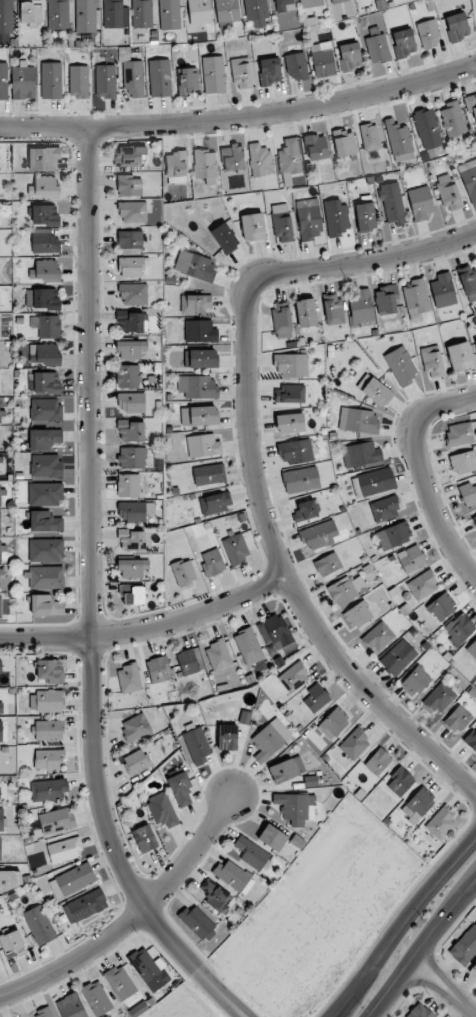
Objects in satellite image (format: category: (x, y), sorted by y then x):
building: (337, 1)
building: (310, 3)
building: (283, 5)
building: (255, 9)
building: (227, 11)
building: (31, 12)
building: (199, 12)
building: (142, 13)
building: (58, 14)
building: (115, 14)
building: (169, 14)
building: (85, 16)
building: (6, 21)
building: (457, 26)
building: (429, 33)
building: (404, 42)
building: (377, 48)
building: (350, 56)
building: (322, 59)
building: (297, 66)
building: (269, 71)
building: (241, 73)
building: (214, 74)
building: (133, 78)
building: (160, 78)
building: (51, 80)
building: (3, 81)
building: (78, 81)
building: (105, 81)
building: (188, 81)
building: (23, 82)
building: (471, 105)
building: (453, 119)
road: (241, 122)
building: (428, 129)
building: (370, 137)
building: (398, 138)
building: (344, 142)
building: (316, 147)
building: (127, 156)
building: (232, 158)
building: (290, 158)
building: (44, 159)
building: (260, 160)
building: (176, 164)
building: (205, 165)
building: (469, 178)
building: (129, 185)
building: (44, 187)
building: (448, 192)
building: (392, 203)
building: (420, 203)
building: (133, 212)
building: (45, 215)
building: (335, 217)
building: (365, 217)
building: (309, 219)
building: (282, 223)
building: (253, 227)
building: (224, 237)
building: (130, 239)
building: (43, 240)
building: (195, 266)
building: (133, 267)
building: (45, 271)
building: (468, 281)
building: (443, 290)
building: (134, 294)
building: (415, 297)
building: (42, 298)
building: (387, 300)
building: (196, 303)
building: (360, 306)
building: (333, 309)
building: (306, 313)
building: (281, 320)
building: (133, 322)
building: (49, 326)
building: (0, 327)
building: (200, 331)
building: (475, 341)
building: (131, 349)
building: (44, 355)
building: (460, 356)
building: (201, 359)
building: (432, 361)
building: (290, 365)
building: (401, 366)
building: (127, 376)
building: (44, 383)
building: (198, 387)
building: (377, 392)
building: (289, 394)
building: (131, 402)
building: (45, 410)
building: (1, 414)
building: (199, 416)
building: (358, 420)
building: (289, 423)
building: (131, 431)
building: (461, 433)
building: (44, 439)
building: (203, 446)
building: (295, 451)
building: (361, 454)
building: (0, 457)
building: (132, 457)
building: (462, 463)
road: (256, 464)
building: (46, 465)
building: (209, 474)
road: (426, 475)
building: (301, 480)
building: (373, 482)
building: (128, 485)
building: (45, 494)
building: (468, 494)
building: (0, 497)
building: (215, 503)
building: (384, 509)
building: (131, 511)
building: (306, 511)
building: (474, 519)
building: (45, 521)
building: (0, 523)
building: (319, 535)
building: (394, 535)
building: (132, 540)
building: (235, 549)
building: (46, 550)
building: (0, 551)
building: (412, 559)
building: (213, 563)
building: (328, 564)
road: (92, 568)
building: (133, 568)
building: (184, 572)
building: (45, 577)
building: (0, 578)
building: (422, 585)
building: (345, 589)
building: (132, 594)
building: (46, 605)
building: (0, 606)
building: (442, 606)
building: (357, 615)
road: (148, 627)
building: (460, 628)
building: (277, 631)
building: (378, 637)
building: (248, 646)
building: (472, 648)
building: (218, 655)
building: (398, 657)
building: (189, 662)
building: (0, 666)
building: (159, 669)
building: (50, 670)
building: (293, 677)
building: (129, 678)
building: (415, 681)
building: (316, 698)
building: (437, 698)
building: (46, 701)
building: (1, 707)
building: (457, 719)
building: (334, 722)
building: (136, 728)
building: (49, 729)
building: (1, 731)
building: (227, 737)
building: (471, 739)
building: (267, 742)
building: (354, 744)
building: (197, 745)
building: (48, 760)
building: (378, 761)
building: (136, 762)
building: (286, 769)
building: (399, 780)
building: (310, 781)
building: (181, 789)
building: (49, 790)
building: (418, 804)
building: (296, 807)
building: (162, 809)
building: (1, 819)
building: (56, 820)
building: (440, 824)
building: (272, 837)
building: (144, 838)
building: (0, 849)
building: (65, 849)
building: (251, 853)
building: (234, 876)
building: (7, 880)
building: (72, 880)
building: (218, 898)
building: (85, 906)
road: (131, 916)
road: (401, 921)
building: (197, 922)
building: (39, 925)
building: (12, 943)
building: (464, 946)
road: (423, 947)
building: (149, 966)
building: (473, 969)
building: (120, 982)
road: (445, 987)
road: (226, 995)
building: (96, 998)
building: (71, 1006)
building: (419, 1011)
building: (44, 1012)

